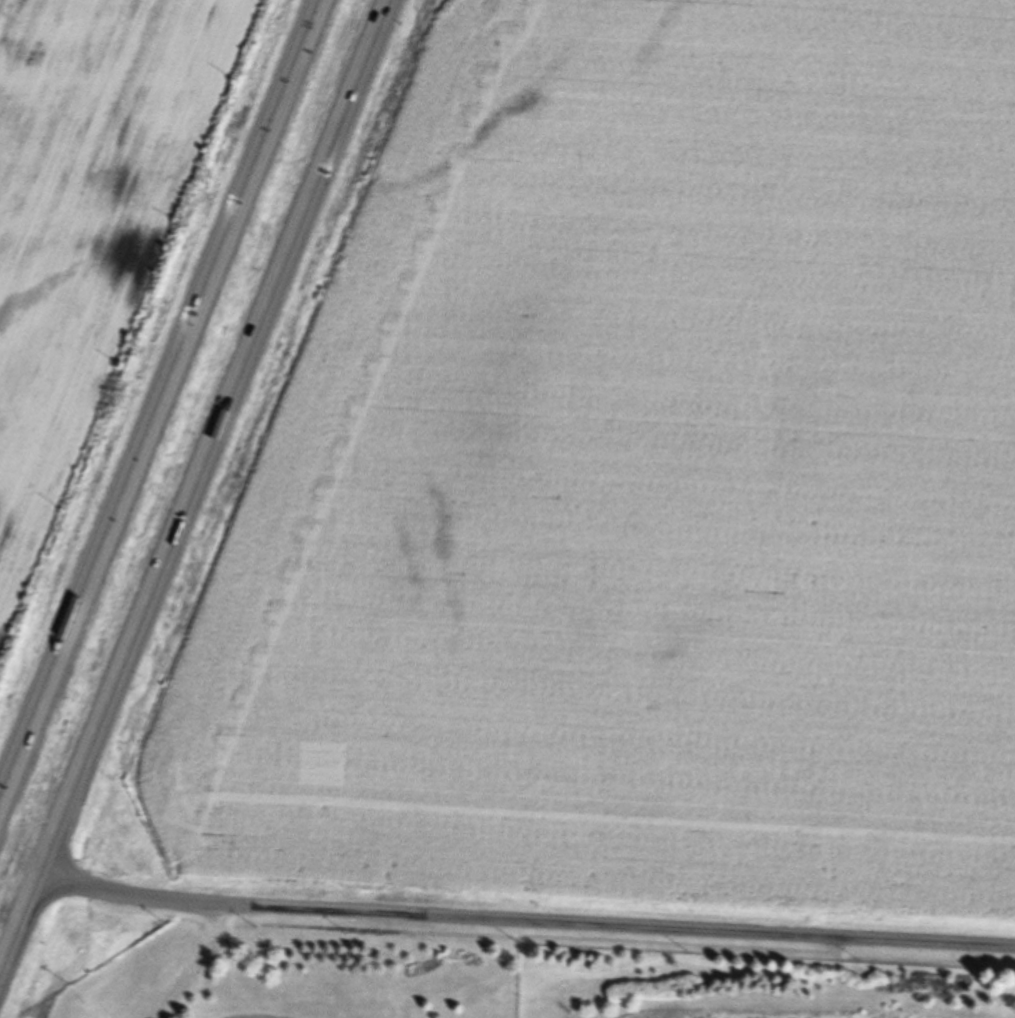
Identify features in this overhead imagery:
road: (154, 388)
road: (213, 435)
road: (19, 920)
road: (525, 921)

